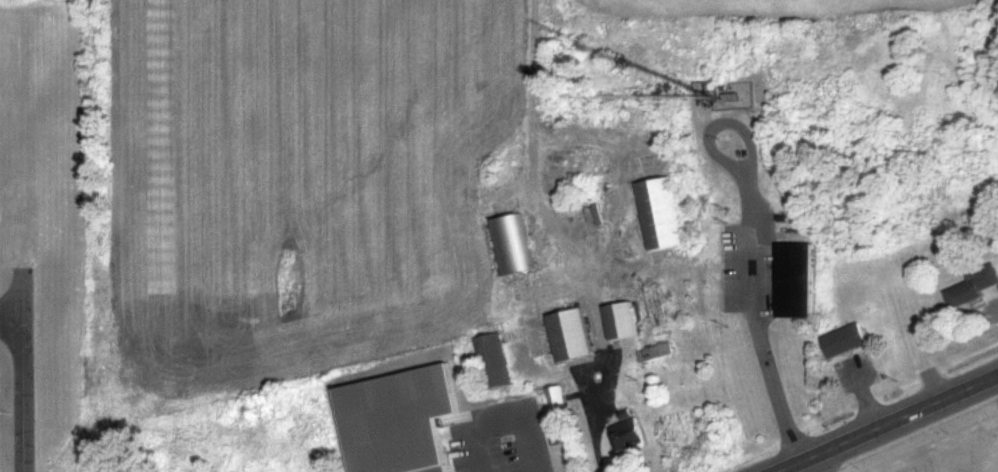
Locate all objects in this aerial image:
building: (704, 103)
building: (665, 217)
building: (515, 246)
building: (795, 279)
building: (972, 285)
building: (626, 325)
building: (577, 338)
building: (844, 339)
building: (656, 351)
building: (495, 359)
road: (21, 382)
building: (557, 399)
building: (397, 420)
road: (884, 422)
building: (626, 432)

